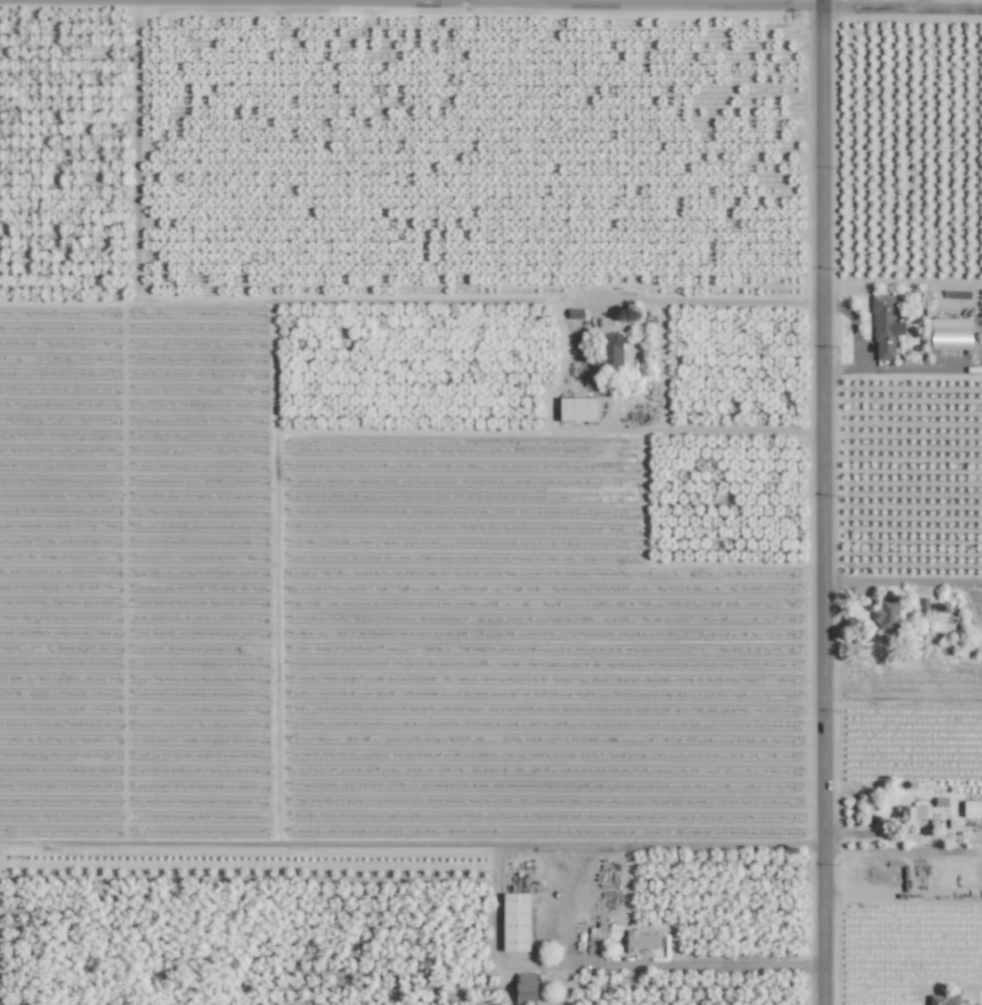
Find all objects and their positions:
road: (558, 2)
road: (593, 4)
building: (884, 328)
building: (948, 333)
building: (606, 351)
road: (662, 365)
building: (577, 409)
road: (822, 502)
building: (886, 614)
building: (972, 809)
building: (912, 816)
road: (902, 838)
road: (902, 895)
road: (496, 905)
building: (515, 922)
building: (640, 941)
building: (525, 988)
building: (943, 999)

